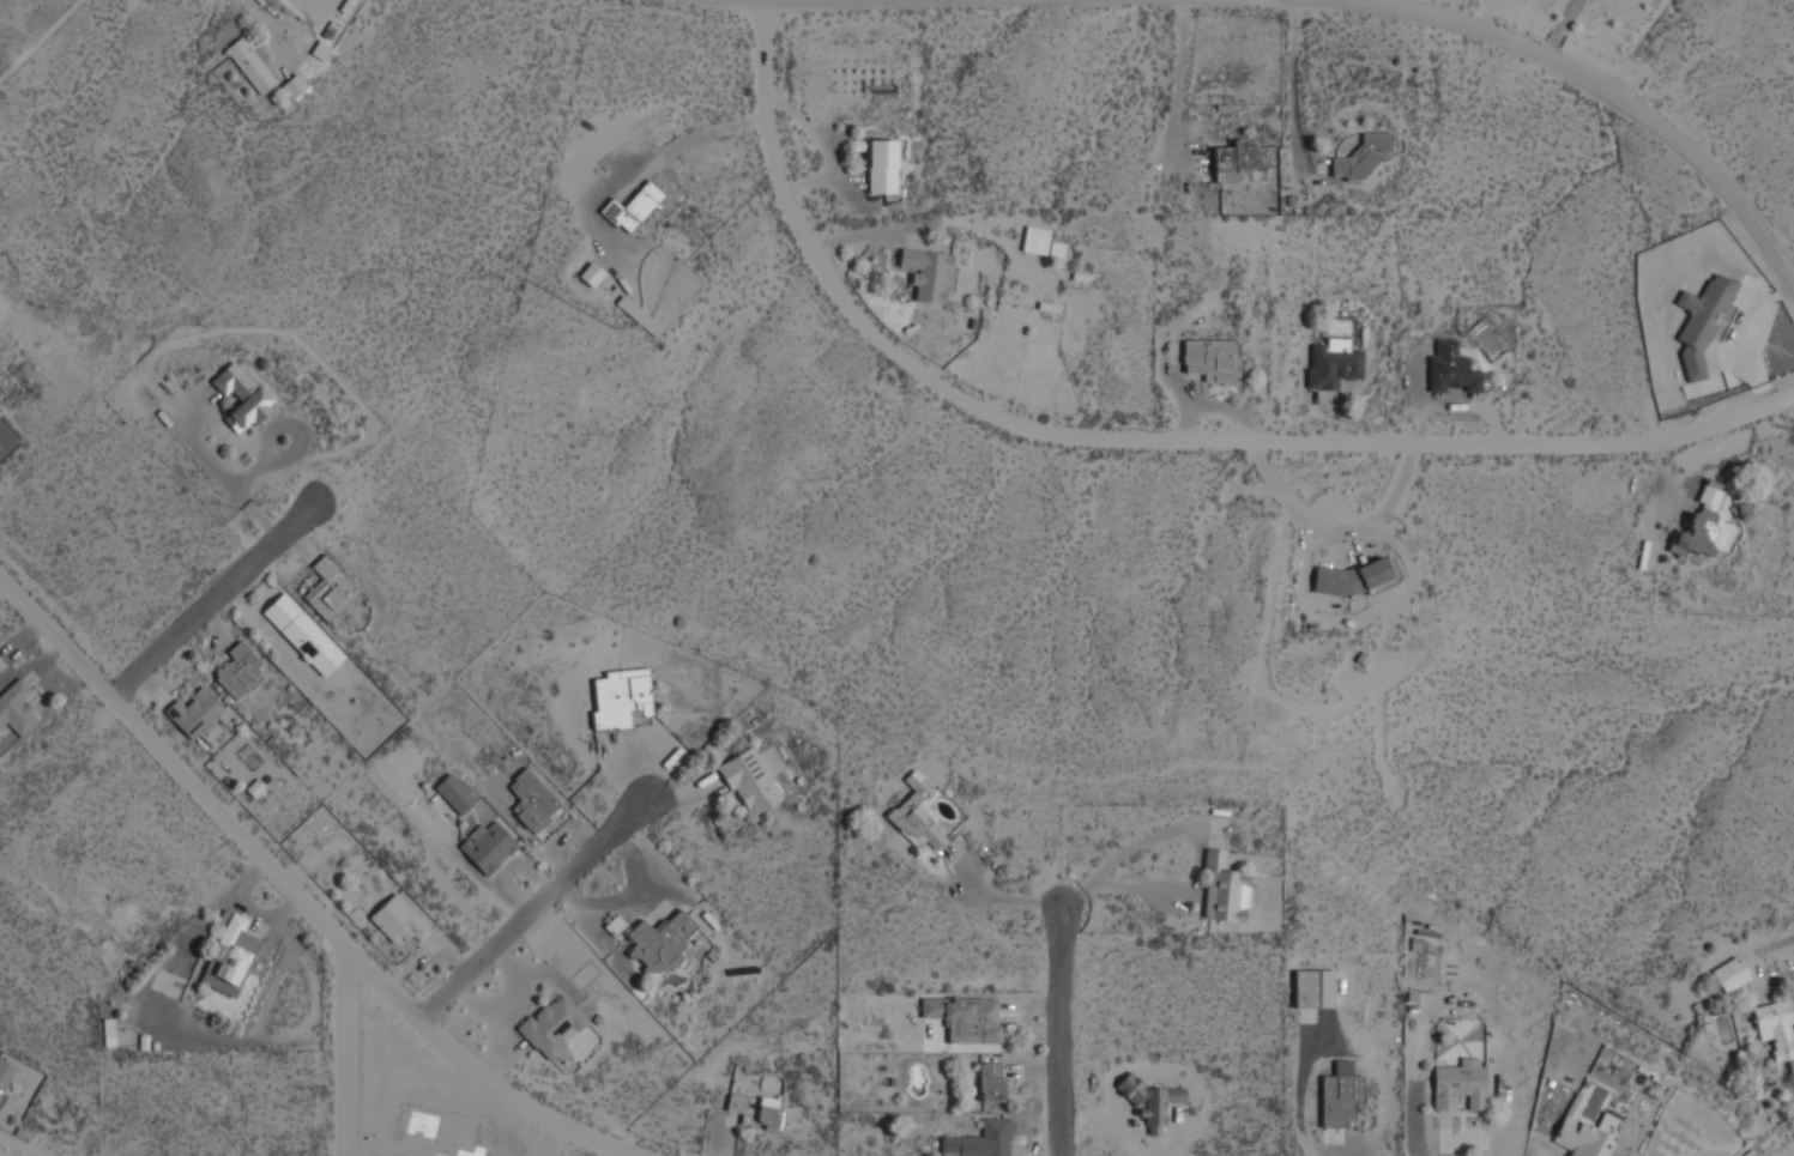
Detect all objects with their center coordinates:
road: (1333, 2)
road: (1557, 29)
building: (250, 66)
building: (1361, 157)
building: (1236, 158)
building: (881, 167)
building: (632, 208)
building: (1034, 241)
building: (925, 273)
building: (1701, 322)
building: (1210, 359)
building: (1333, 364)
building: (1450, 369)
building: (231, 374)
road: (1140, 438)
building: (1701, 526)
building: (1349, 579)
building: (330, 589)
road: (210, 597)
building: (303, 635)
building: (238, 672)
building: (620, 697)
building: (16, 709)
building: (194, 713)
building: (749, 781)
building: (454, 794)
building: (532, 801)
building: (917, 813)
building: (487, 847)
road: (1198, 863)
building: (1224, 890)
road: (294, 894)
road: (1001, 897)
road: (530, 908)
building: (398, 921)
building: (660, 942)
building: (1729, 975)
building: (1304, 989)
building: (965, 1018)
building: (554, 1027)
road: (1055, 1029)
building: (1776, 1030)
road: (348, 1057)
building: (5, 1075)
building: (990, 1083)
building: (1460, 1085)
building: (1339, 1095)
building: (1149, 1102)
building: (1584, 1136)
building: (980, 1140)

